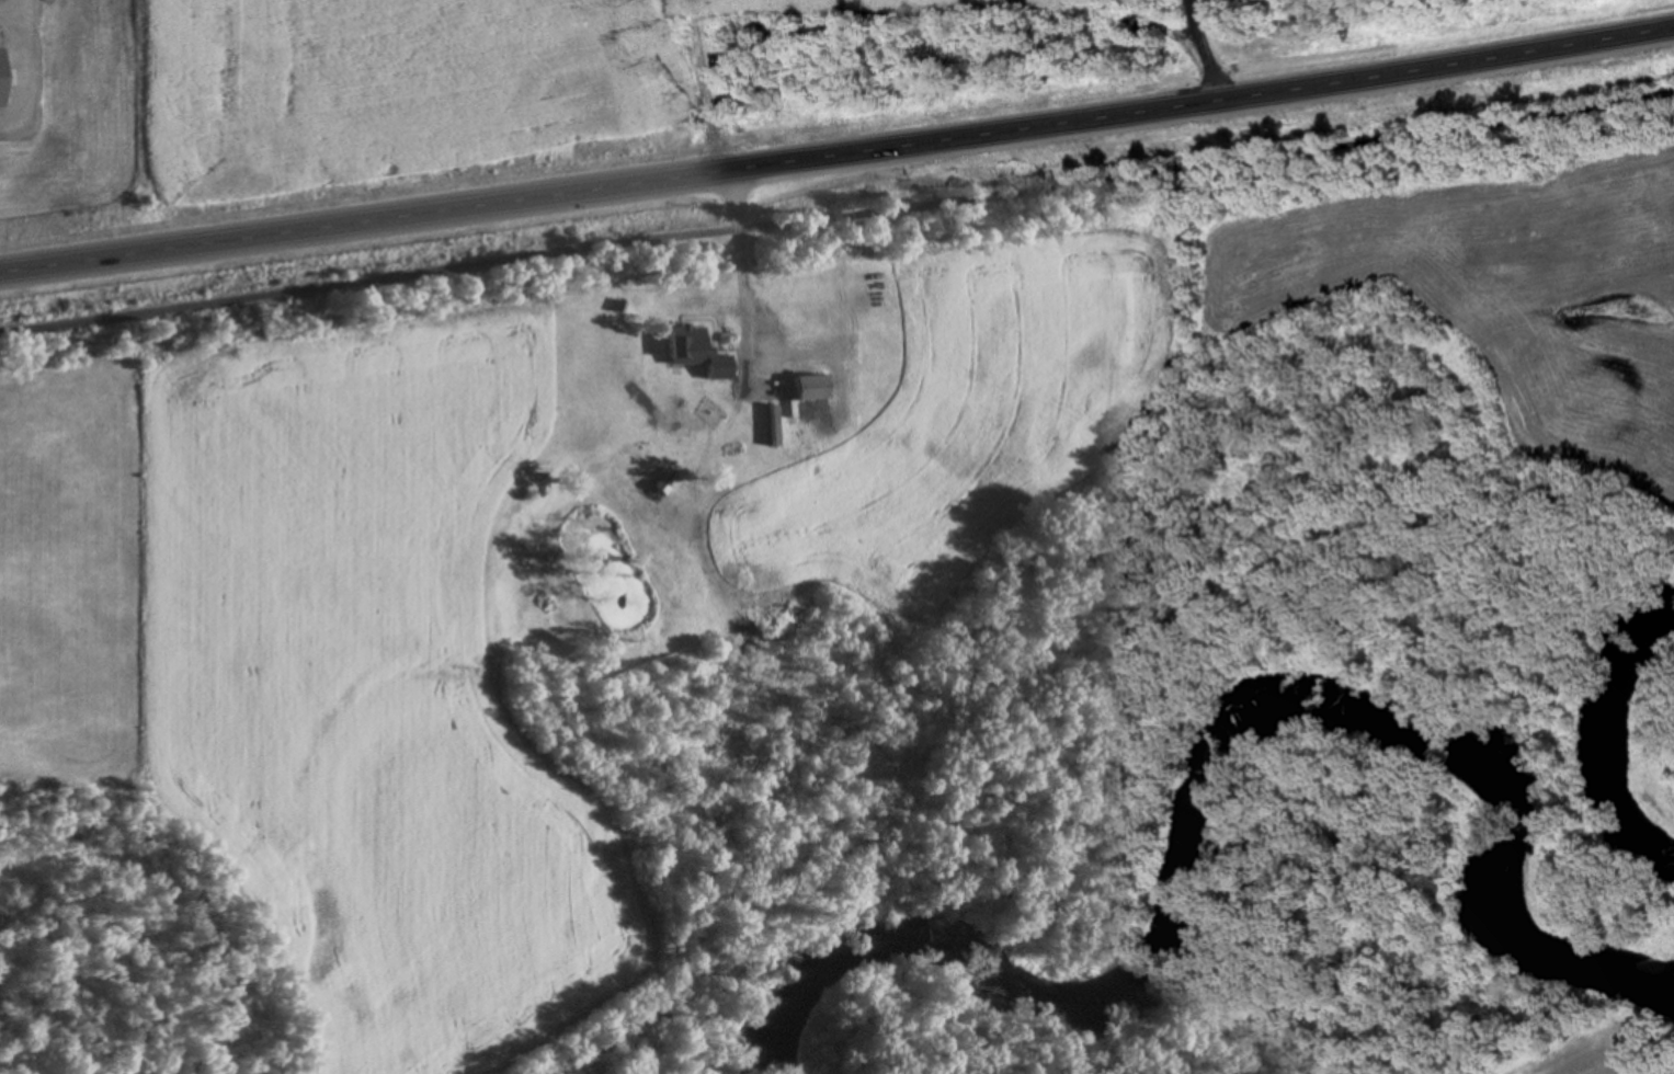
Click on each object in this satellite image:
road: (1200, 50)
road: (26, 72)
road: (702, 95)
road: (838, 153)
road: (836, 213)
road: (743, 273)
building: (688, 342)
building: (815, 380)
building: (842, 478)
building: (834, 495)
river: (1325, 713)
river: (1647, 713)
river: (1012, 957)
river: (878, 972)

